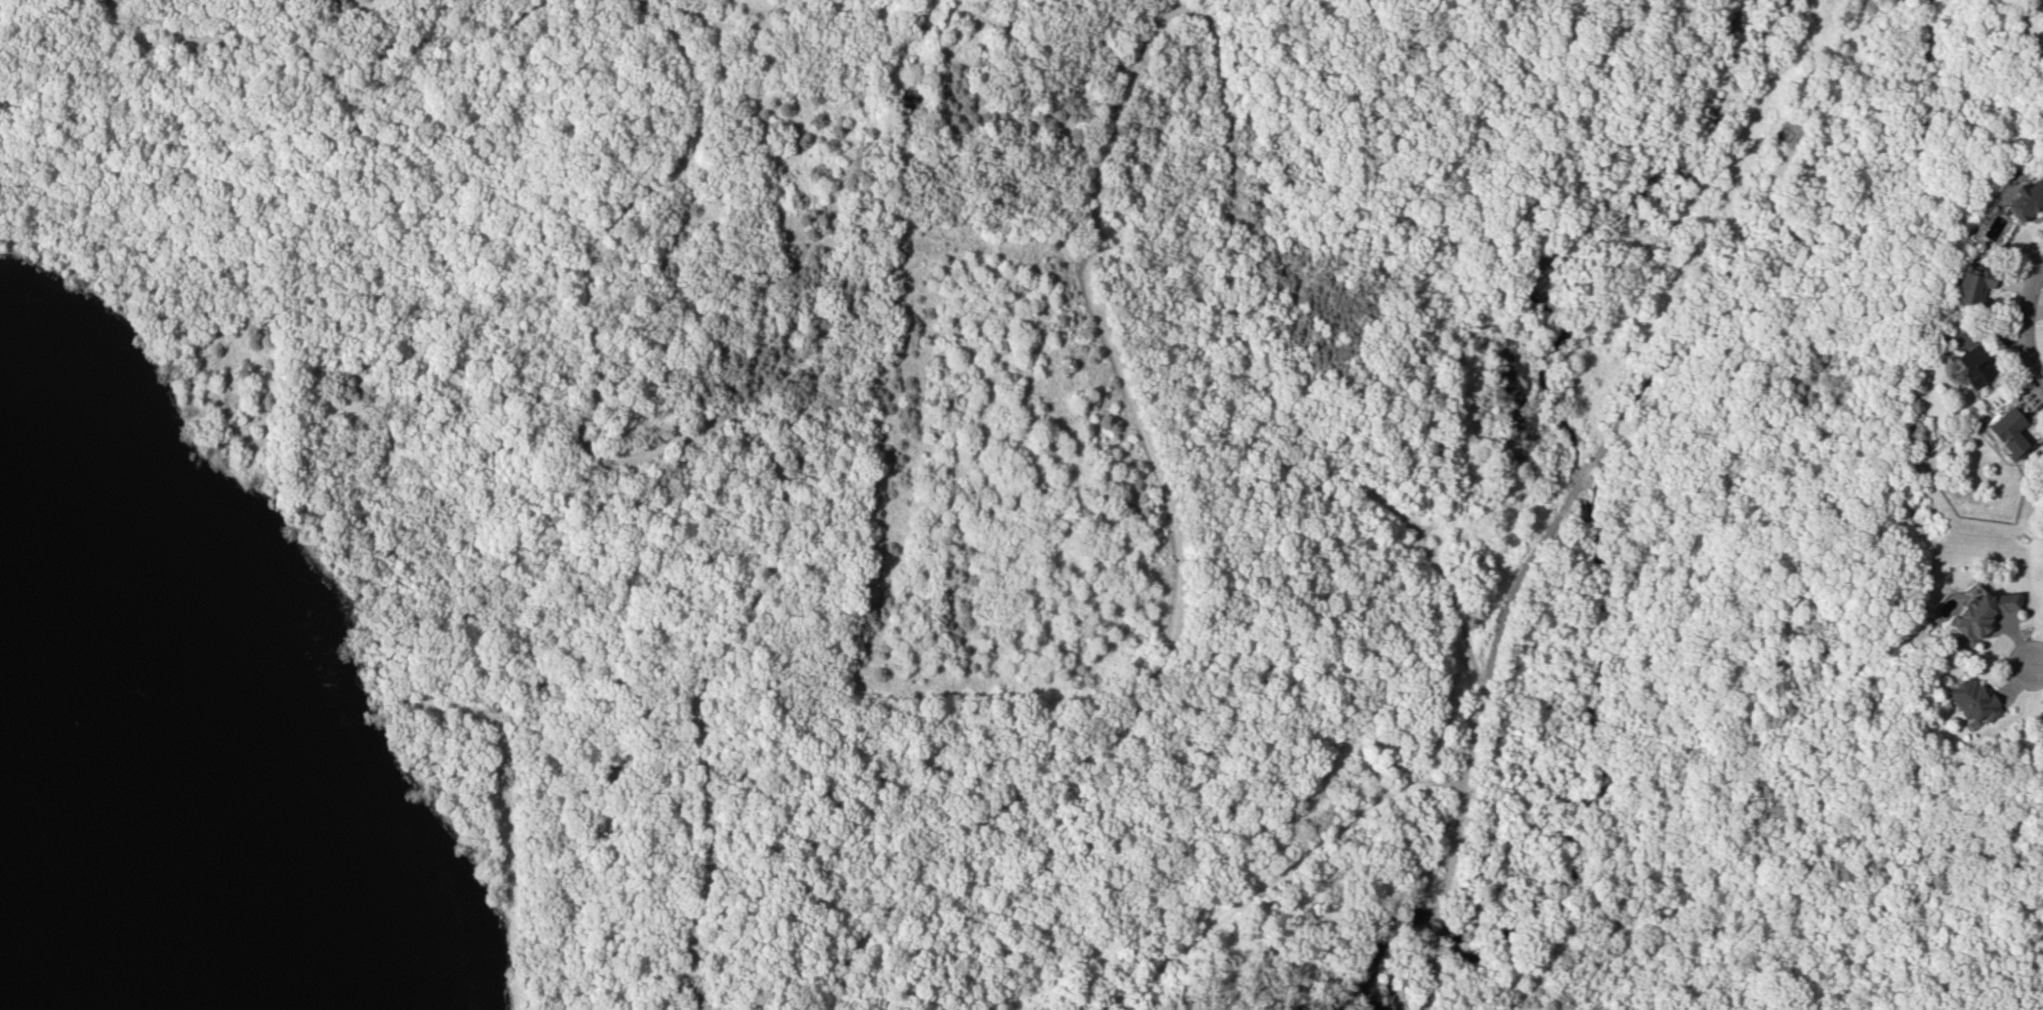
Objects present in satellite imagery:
road: (320, 72)
road: (1095, 182)
road: (1769, 196)
building: (2025, 200)
building: (1992, 222)
building: (1972, 286)
road: (2028, 293)
road: (1702, 329)
road: (2027, 360)
building: (1974, 365)
road: (716, 425)
building: (2009, 432)
park: (931, 503)
road: (2038, 665)
building: (1971, 702)
building: (2038, 728)
road: (1460, 802)
road: (1276, 875)
road: (1431, 962)

